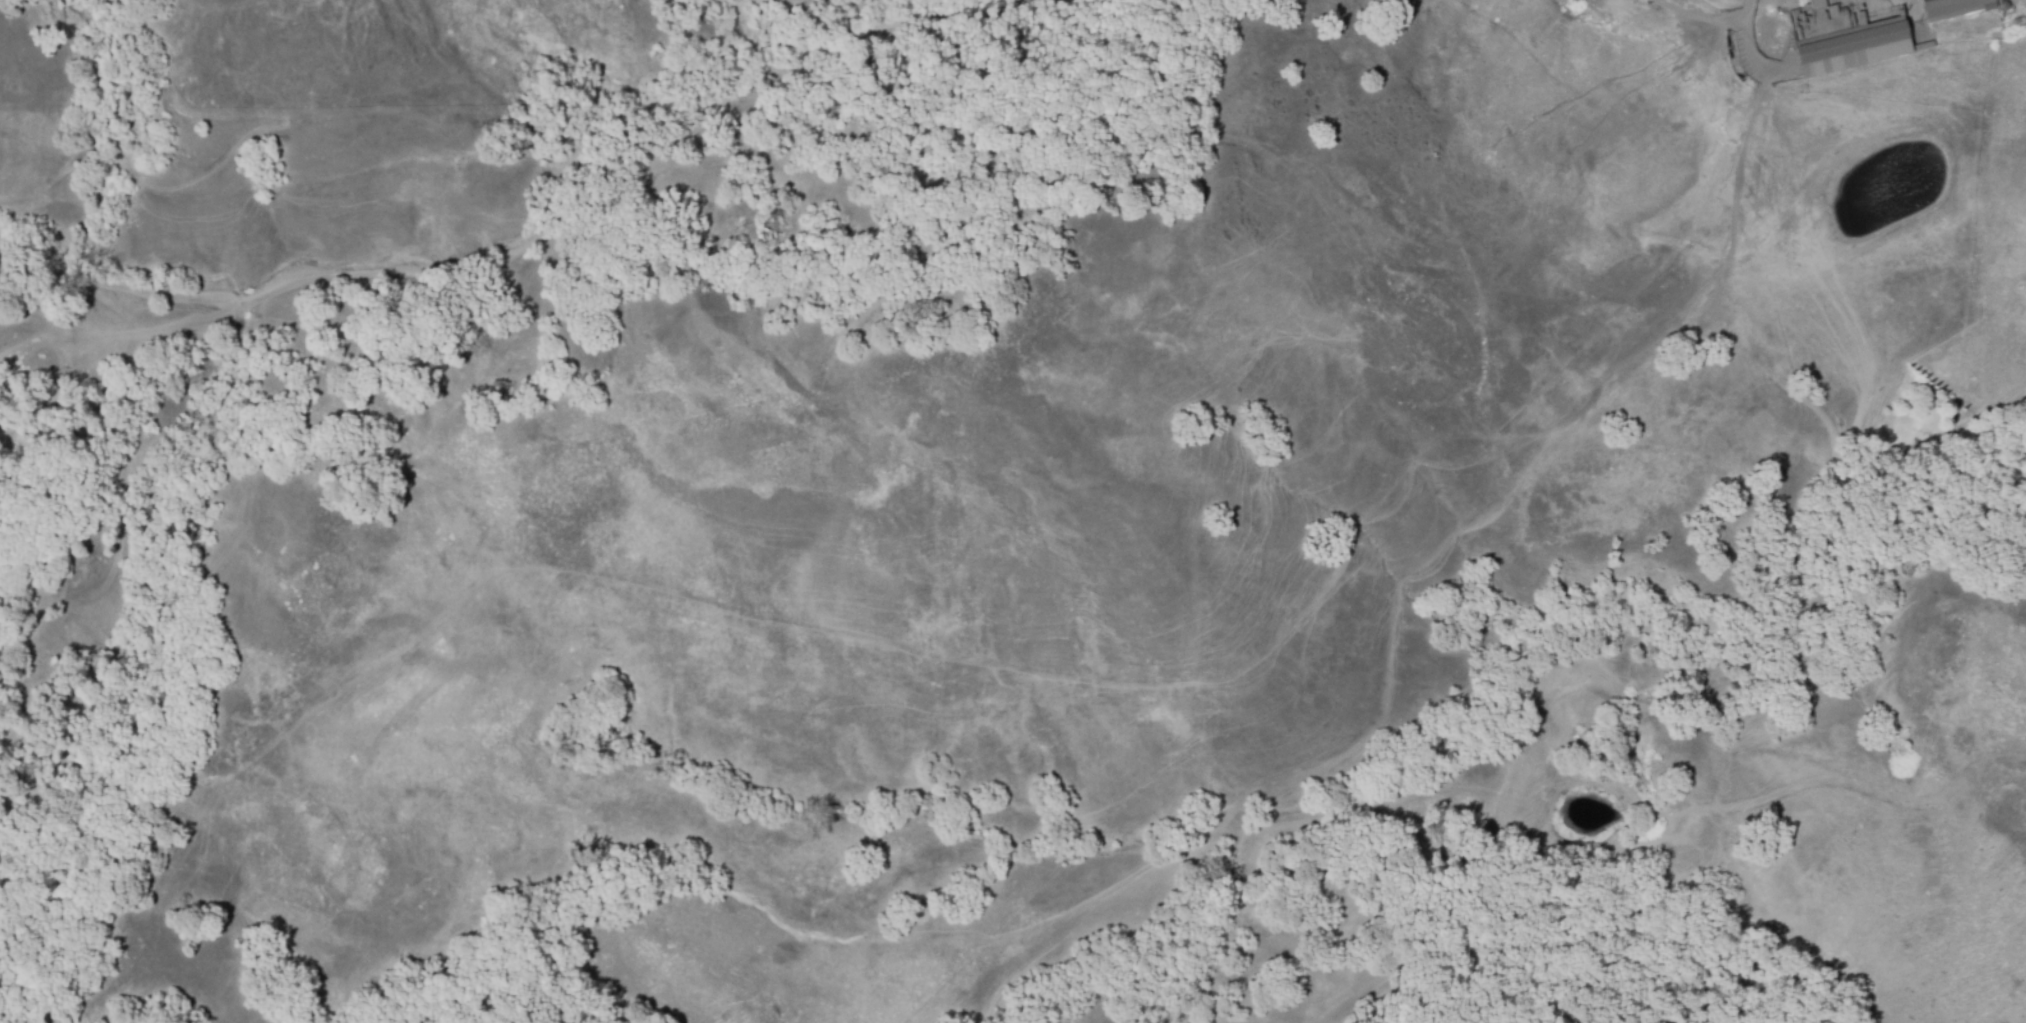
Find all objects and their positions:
building: (1953, 7)
building: (1846, 37)
road: (2006, 397)

